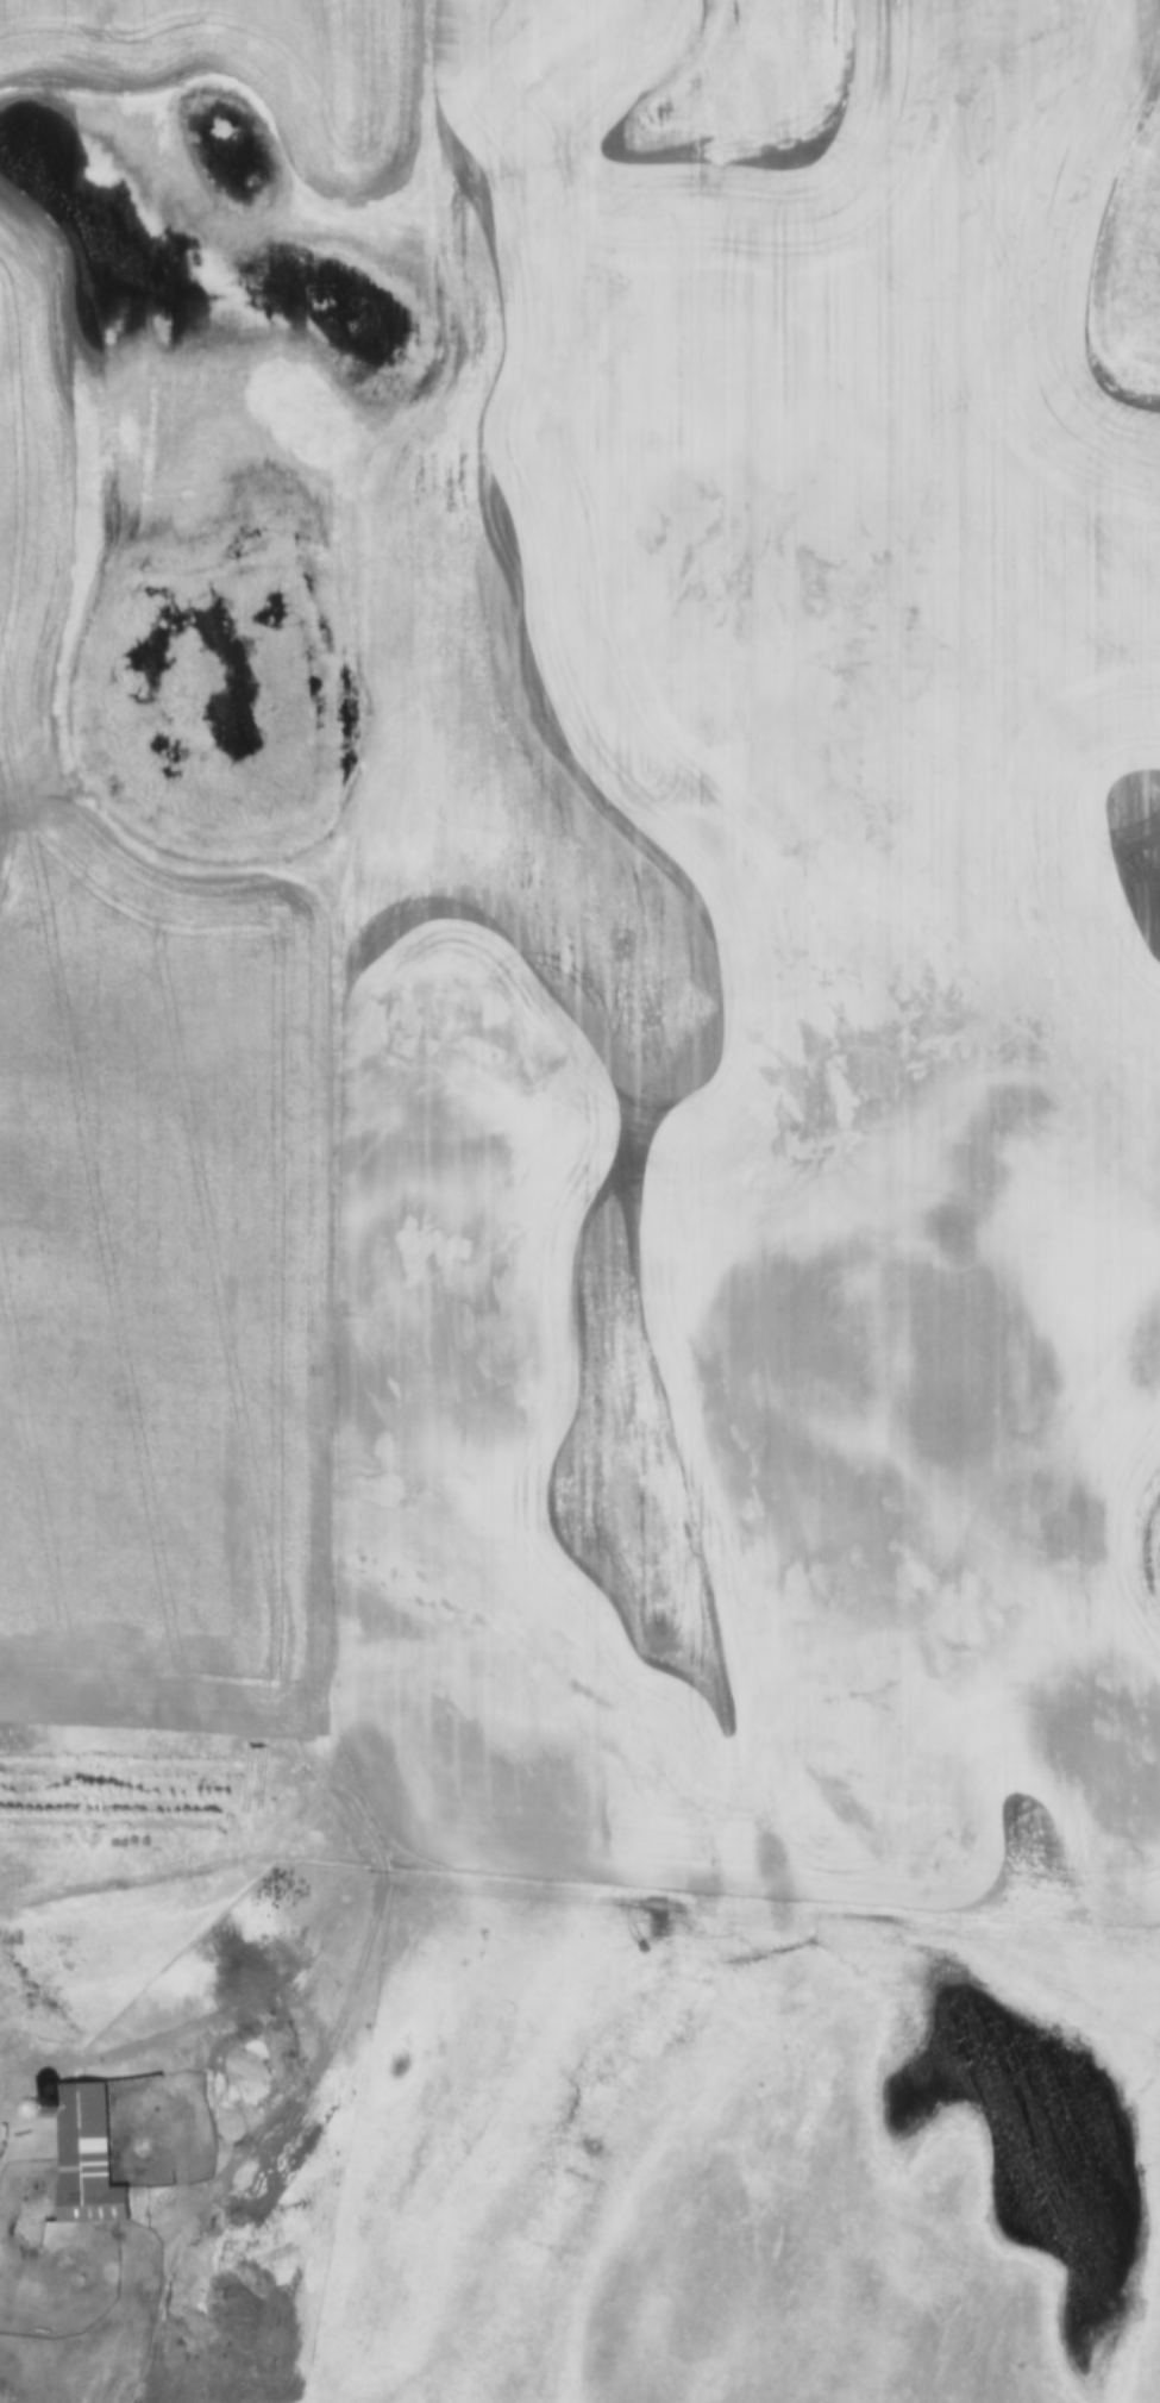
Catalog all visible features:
building: (86, 2155)

